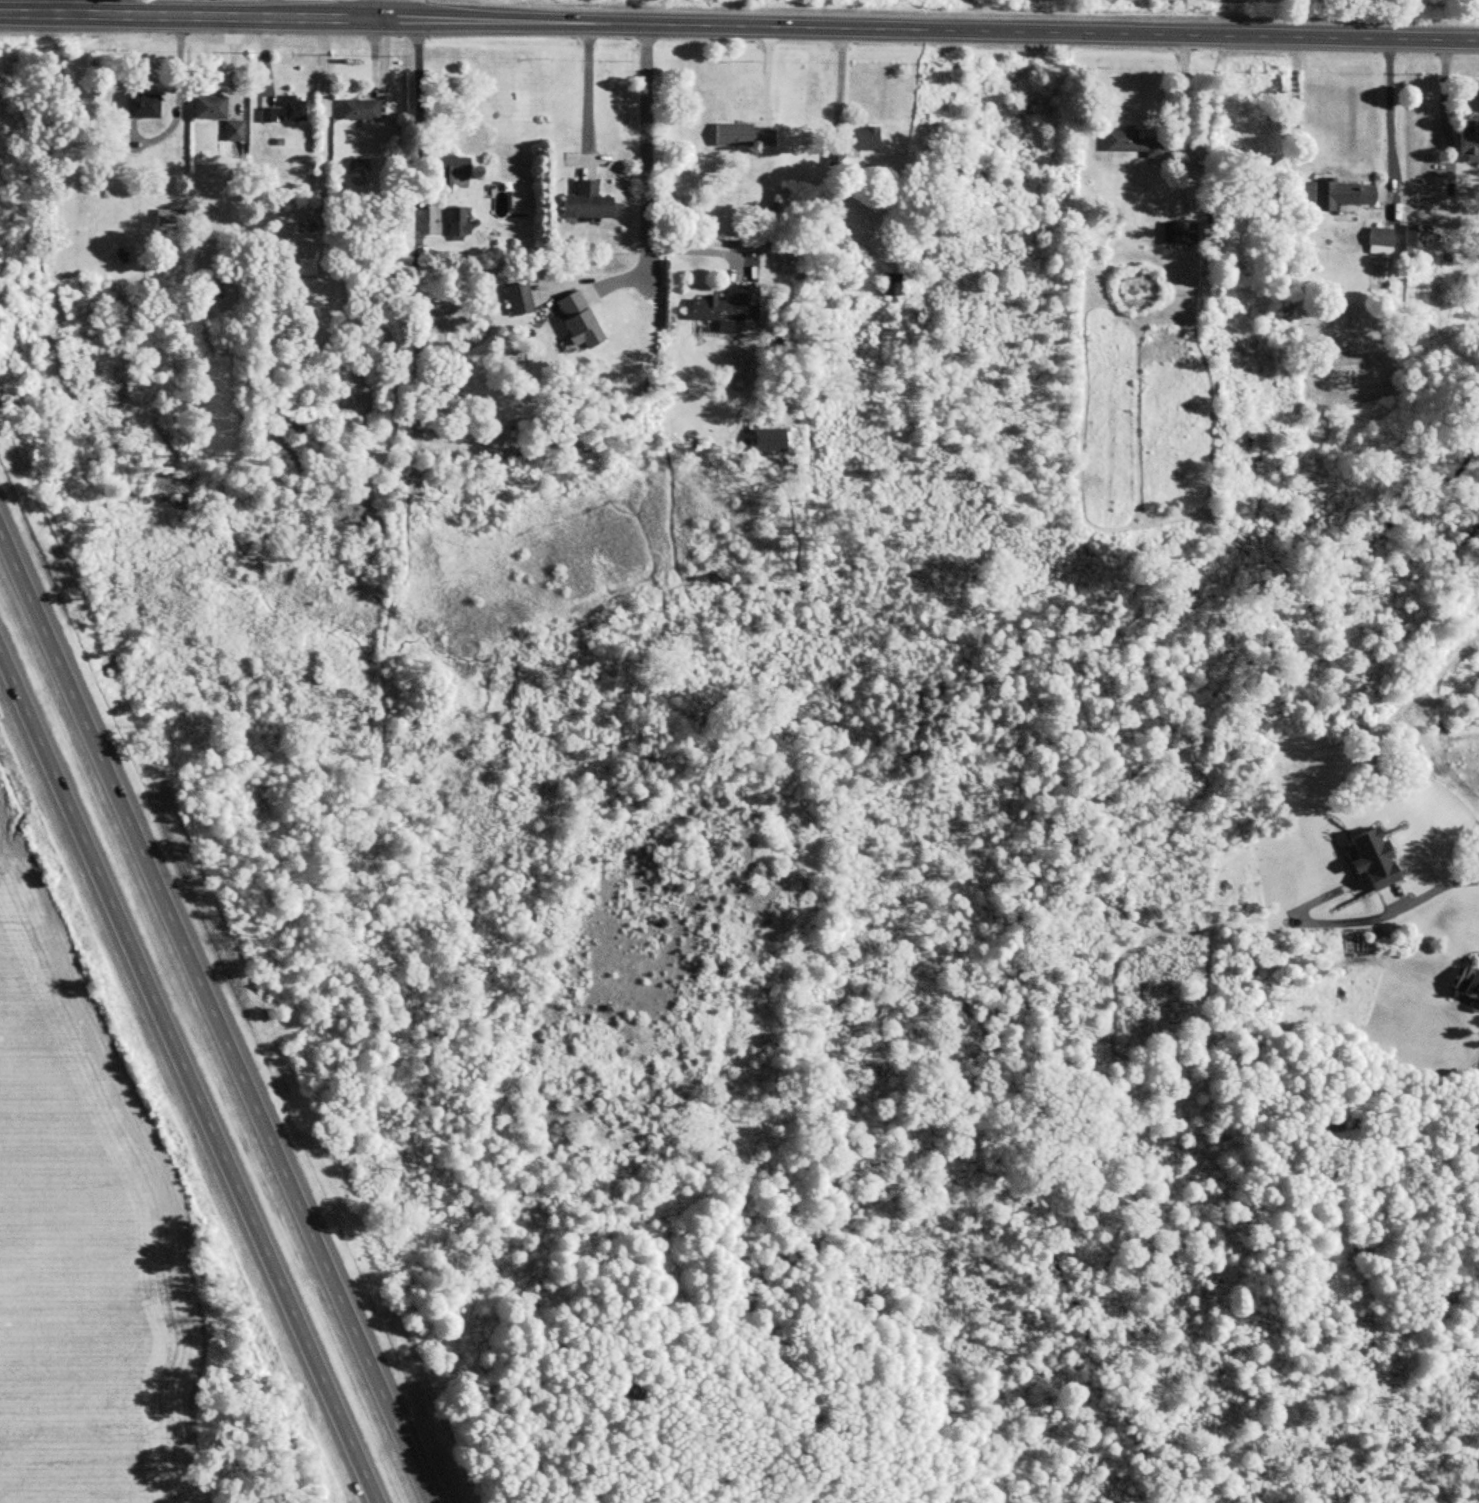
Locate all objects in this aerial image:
road: (62, 7)
road: (204, 9)
road: (384, 10)
road: (31, 14)
road: (222, 18)
road: (399, 21)
road: (946, 31)
road: (587, 80)
road: (178, 89)
road: (1182, 89)
building: (138, 105)
road: (1441, 106)
building: (206, 107)
building: (356, 109)
building: (282, 111)
road: (1387, 116)
road: (416, 120)
building: (228, 130)
building: (741, 135)
road: (644, 138)
building: (859, 138)
building: (1464, 141)
building: (1237, 142)
building: (1131, 143)
building: (445, 169)
building: (1336, 194)
building: (582, 202)
building: (168, 216)
building: (454, 221)
building: (302, 226)
building: (1180, 231)
building: (1412, 234)
building: (1376, 240)
road: (704, 253)
building: (304, 271)
building: (889, 281)
building: (515, 299)
building: (715, 304)
building: (574, 320)
road: (1375, 919)
road: (214, 1018)
road: (188, 1076)

